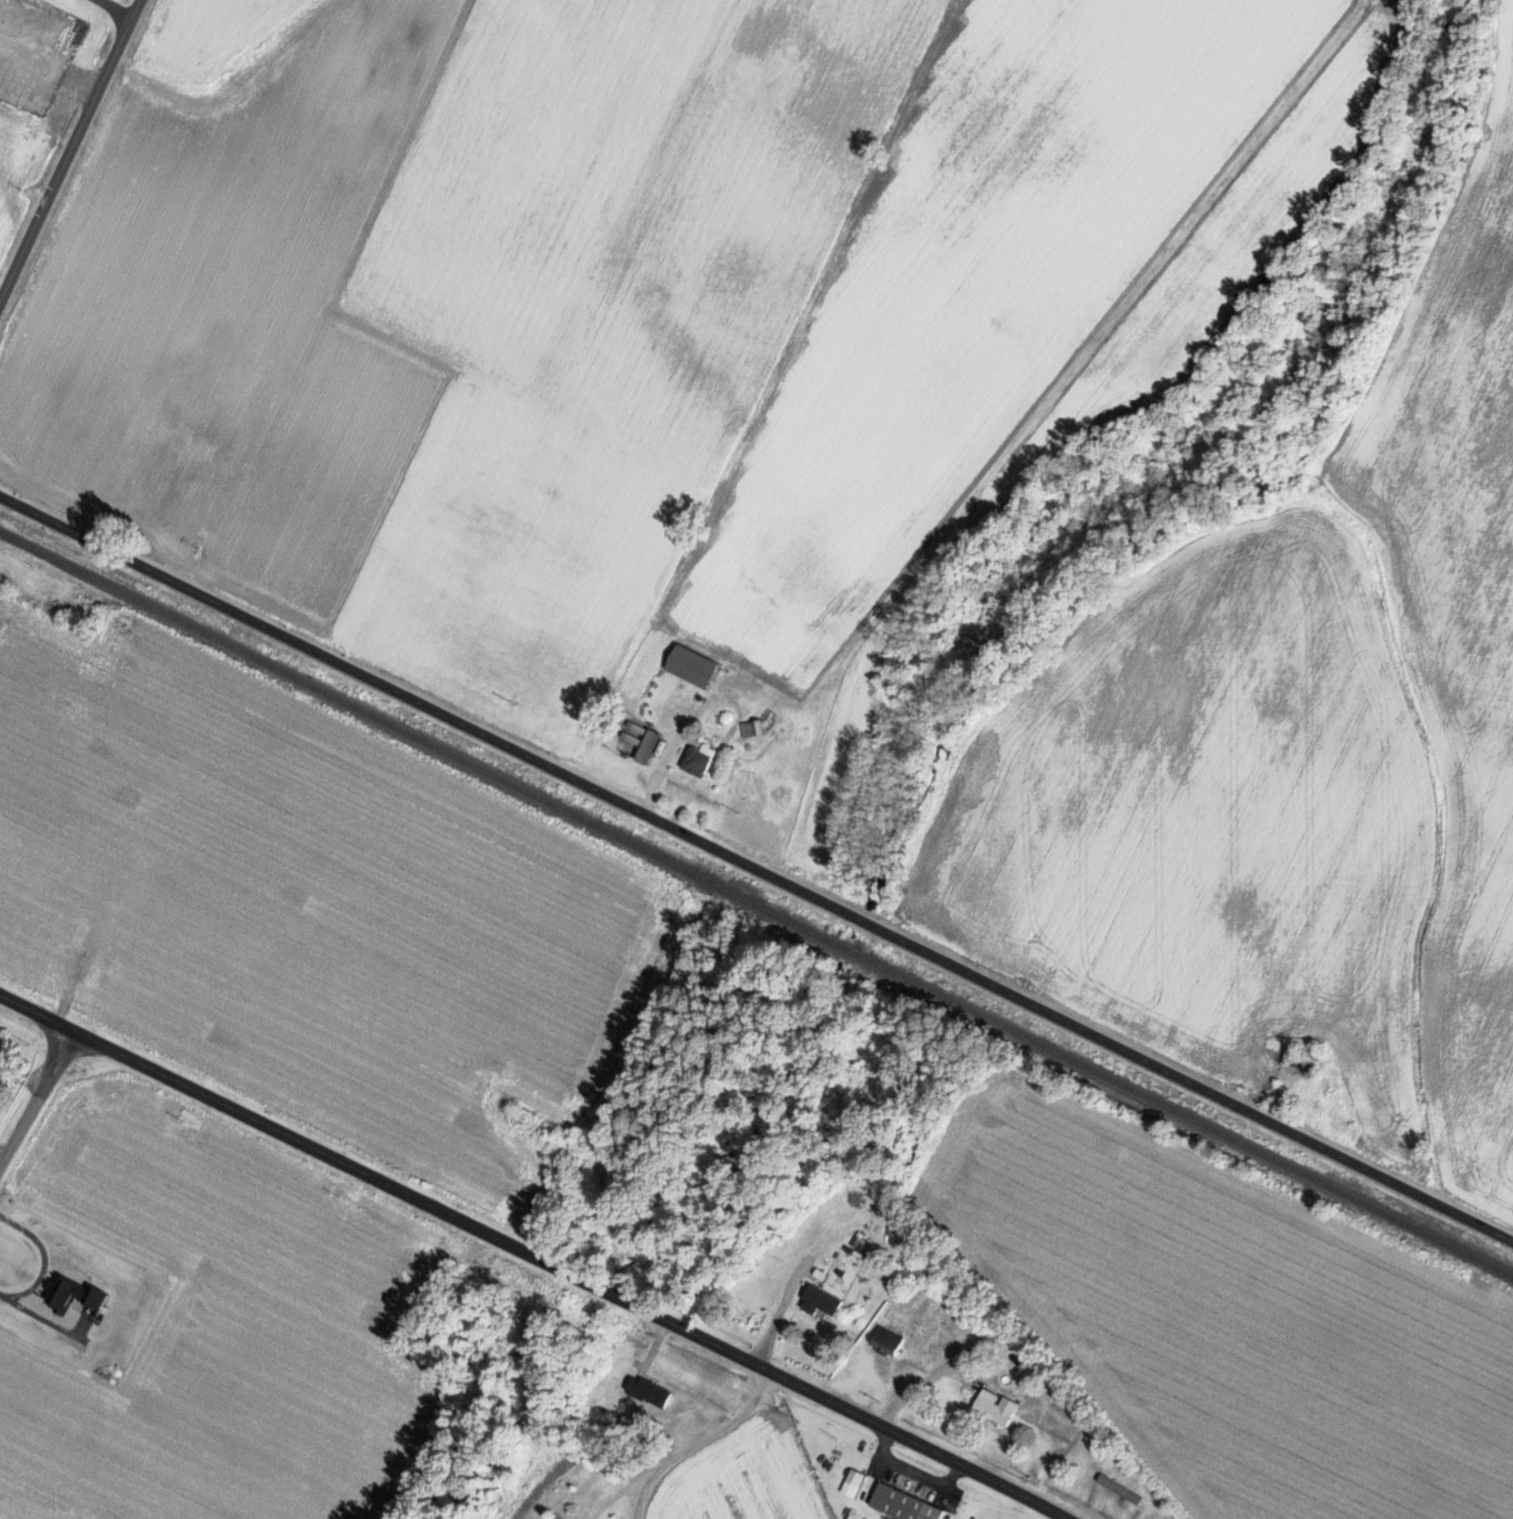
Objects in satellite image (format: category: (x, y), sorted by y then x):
building: (364, 57)
road: (71, 148)
railway: (40, 570)
building: (694, 666)
building: (752, 728)
building: (650, 746)
building: (700, 757)
road: (755, 870)
railway: (756, 903)
road: (36, 1013)
road: (36, 1097)
road: (568, 1274)
building: (821, 1300)
building: (888, 1341)
building: (649, 1391)
building: (996, 1406)
building: (905, 1504)

